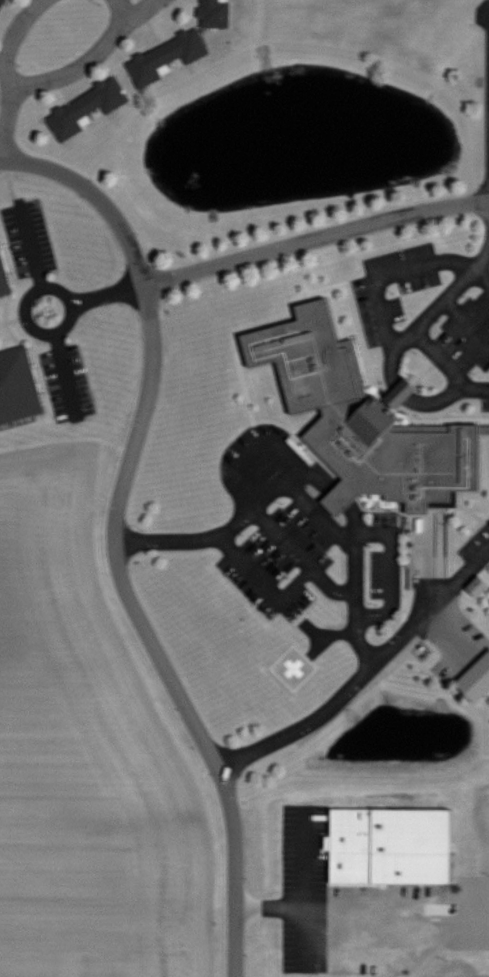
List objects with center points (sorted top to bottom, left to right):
building: (2, 5)
road: (139, 9)
building: (215, 14)
building: (168, 58)
road: (43, 81)
building: (86, 110)
road: (6, 122)
road: (10, 180)
road: (95, 194)
road: (316, 237)
road: (29, 244)
road: (392, 271)
building: (4, 277)
road: (45, 285)
road: (110, 293)
road: (466, 322)
road: (417, 326)
road: (391, 364)
road: (65, 376)
building: (18, 387)
road: (403, 391)
road: (437, 398)
building: (371, 421)
road: (287, 483)
road: (296, 555)
road: (265, 582)
road: (148, 634)
helipad: (294, 666)
road: (364, 675)
building: (478, 680)

